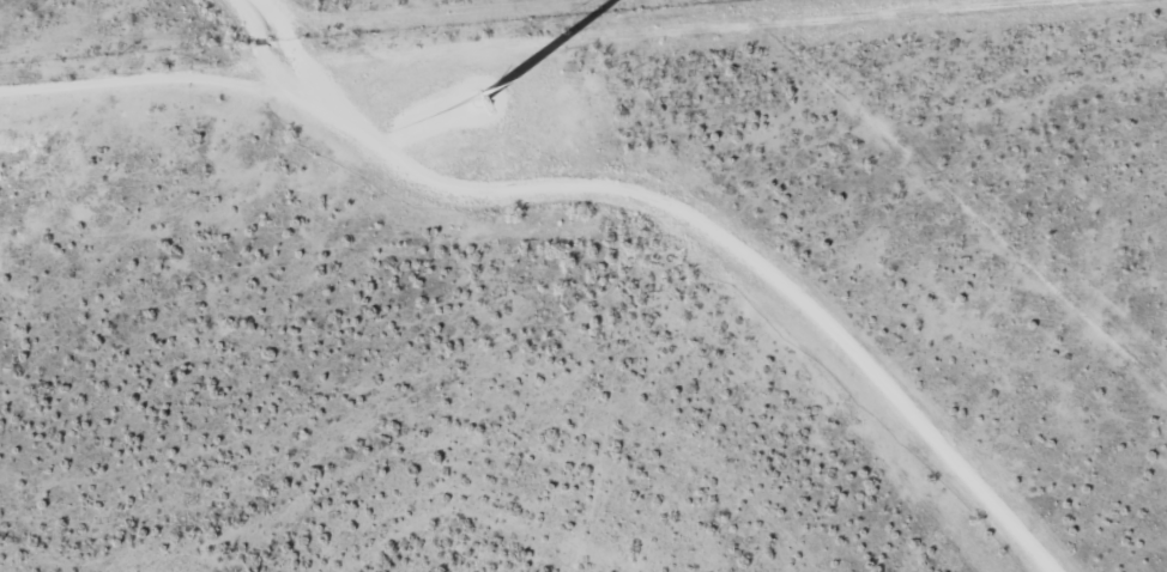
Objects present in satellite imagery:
road: (99, 2)
road: (86, 7)
wind turbine: (443, 114)

